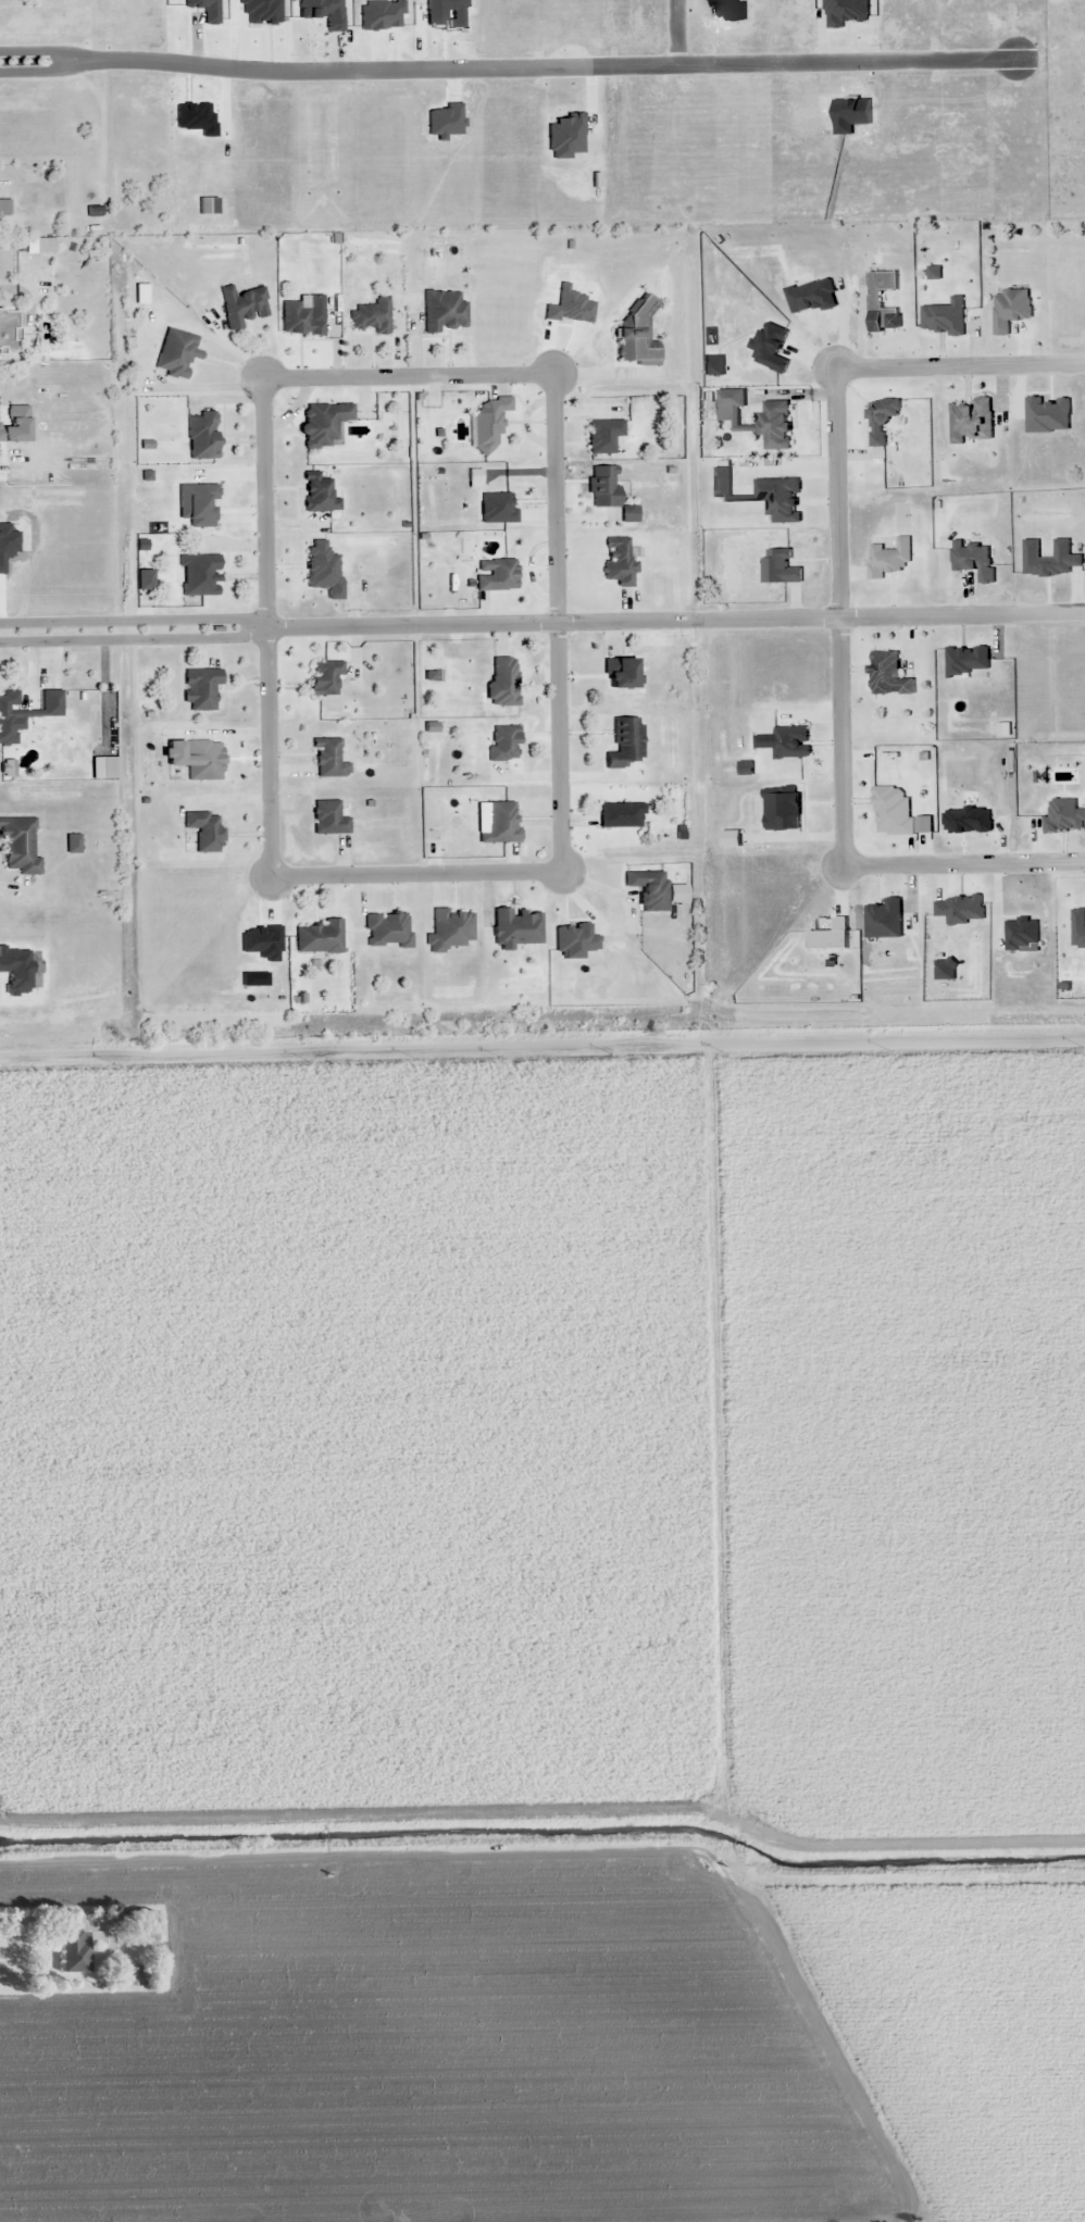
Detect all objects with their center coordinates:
road: (508, 63)
building: (4, 208)
building: (874, 300)
building: (242, 305)
building: (442, 311)
building: (302, 316)
building: (372, 316)
building: (9, 329)
building: (175, 352)
building: (880, 420)
building: (323, 424)
building: (489, 424)
building: (773, 425)
building: (200, 435)
building: (603, 435)
building: (603, 486)
building: (319, 492)
building: (888, 560)
building: (618, 561)
building: (198, 575)
building: (495, 575)
road: (837, 610)
road: (526, 619)
building: (619, 673)
building: (887, 676)
building: (324, 678)
building: (503, 683)
building: (200, 689)
building: (24, 714)
building: (503, 742)
building: (625, 744)
building: (328, 759)
building: (203, 761)
building: (621, 815)
building: (328, 819)
building: (204, 831)
building: (17, 846)
road: (561, 867)
building: (649, 890)
building: (516, 927)
building: (451, 929)
building: (387, 931)
building: (320, 938)
road: (542, 1051)
building: (139, 1921)
building: (74, 1952)

